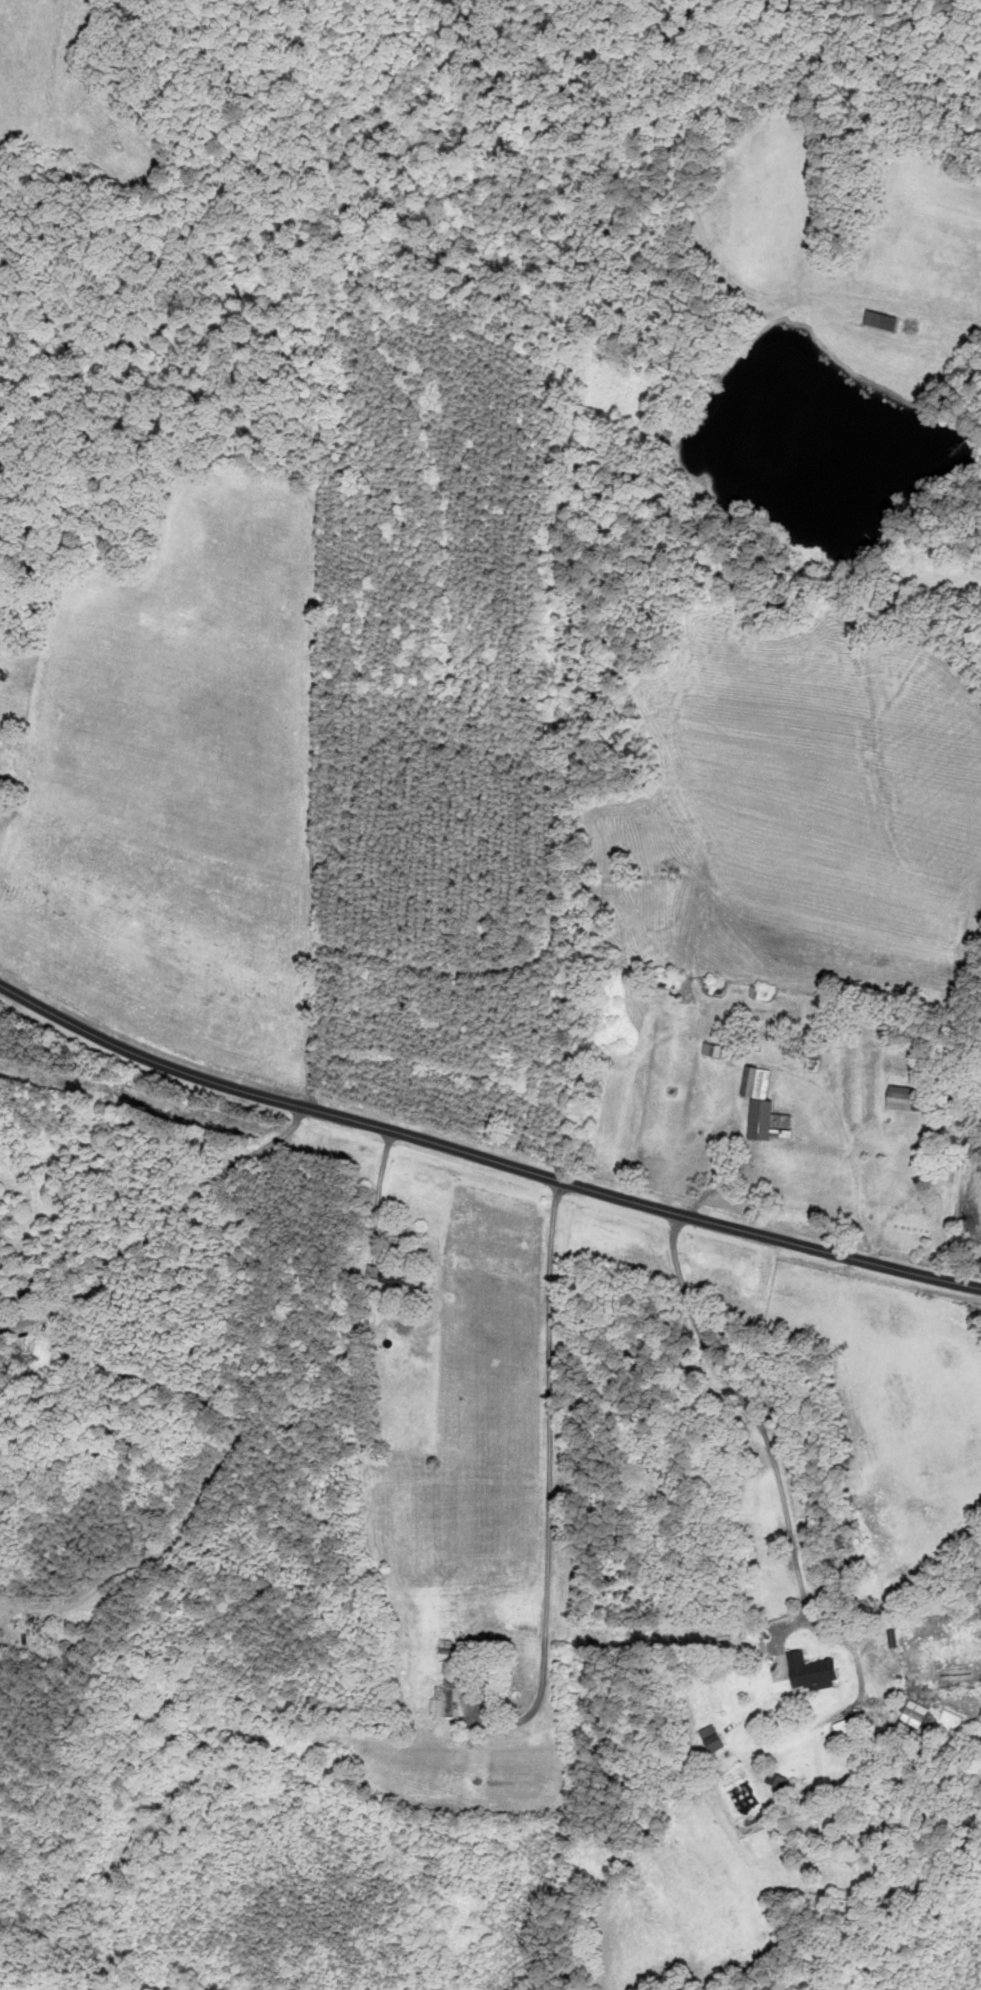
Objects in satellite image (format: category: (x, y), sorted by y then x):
building: (882, 320)
road: (788, 1066)
building: (902, 1098)
building: (760, 1102)
road: (483, 1155)
road: (379, 1189)
road: (158, 1226)
building: (402, 1281)
road: (751, 1412)
road: (549, 1470)
building: (445, 1650)
building: (811, 1670)
building: (488, 1678)
building: (447, 1698)
building: (913, 1715)
building: (844, 1725)
building: (711, 1737)
building: (777, 1778)

